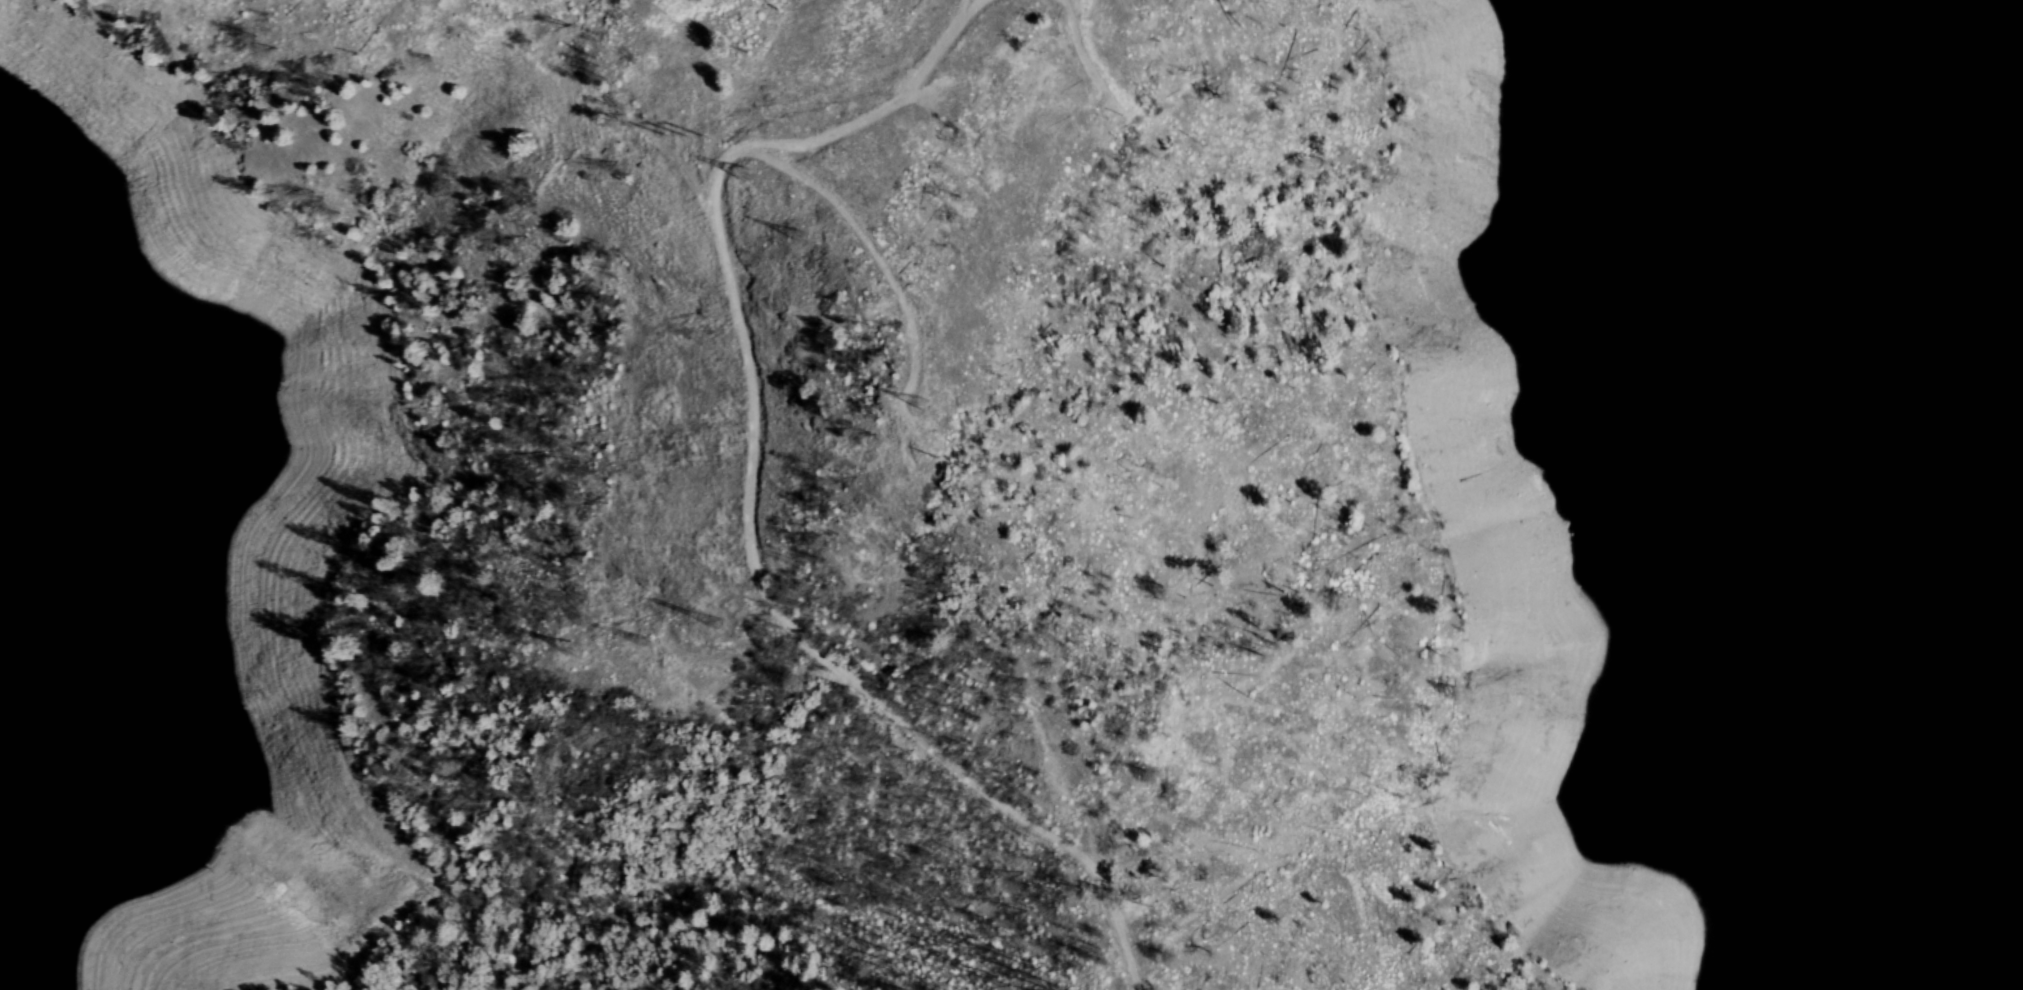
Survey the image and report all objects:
river: (2010, 17)
power tower: (685, 135)
power tower: (766, 163)
power tower: (816, 226)
power tower: (940, 395)
power tower: (729, 628)
power tower: (658, 638)
power tower: (576, 652)

